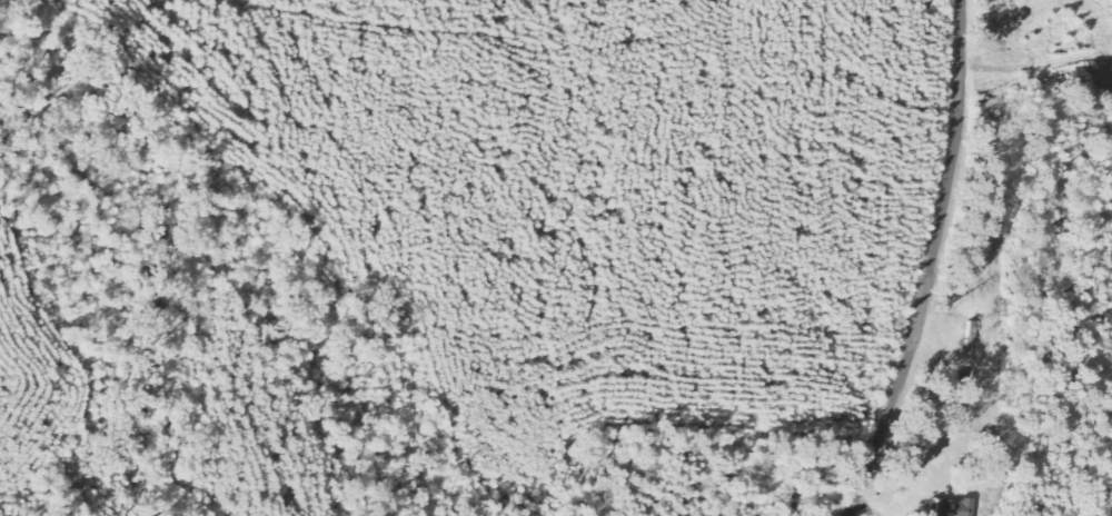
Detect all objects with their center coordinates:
road: (907, 260)
building: (957, 507)

